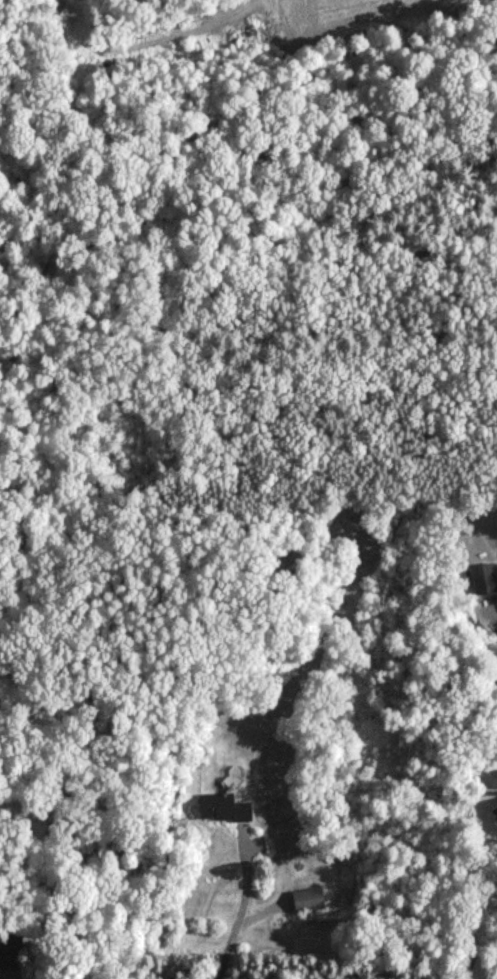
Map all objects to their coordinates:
building: (55, 13)
building: (492, 780)
building: (496, 807)
building: (221, 808)
building: (306, 900)

